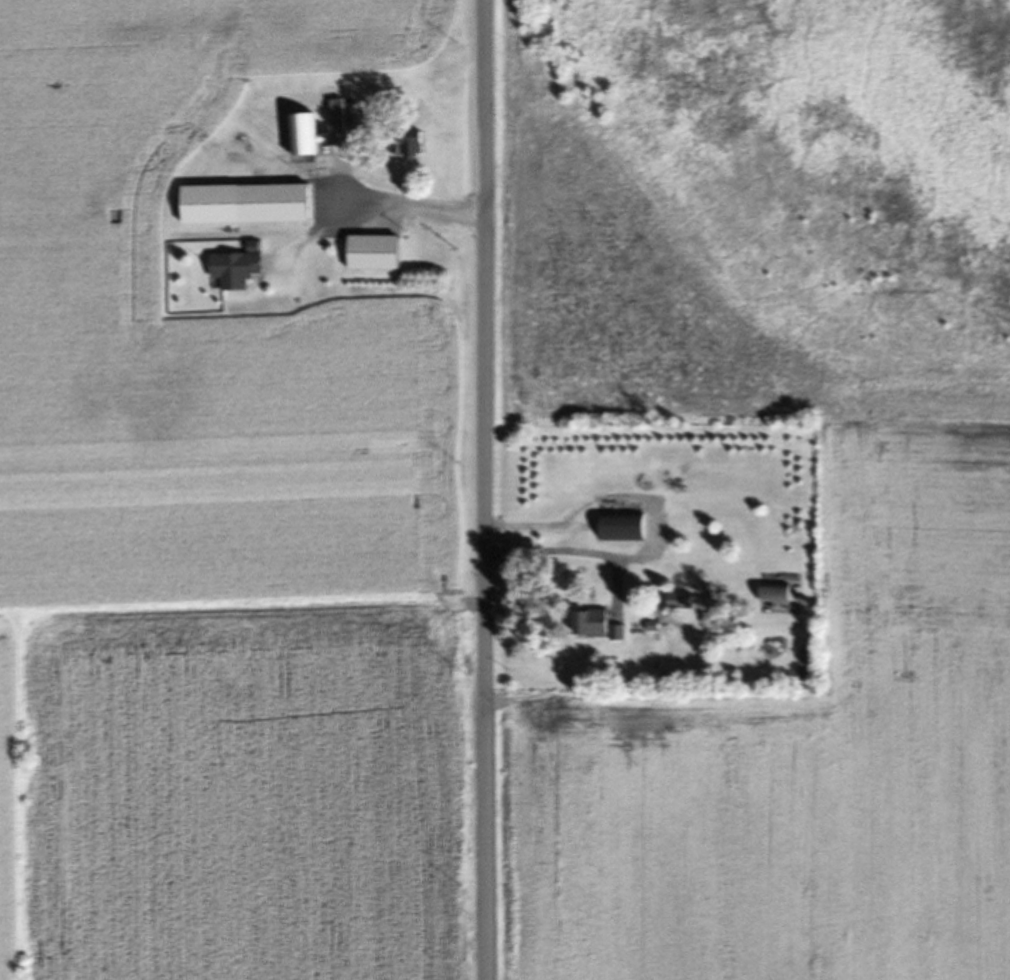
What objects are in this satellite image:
building: (345, 119)
building: (307, 139)
building: (411, 148)
building: (252, 207)
road: (406, 209)
building: (380, 256)
building: (239, 271)
road: (486, 490)
road: (652, 516)
building: (626, 530)
building: (779, 597)
building: (683, 604)
building: (722, 605)
building: (602, 627)

